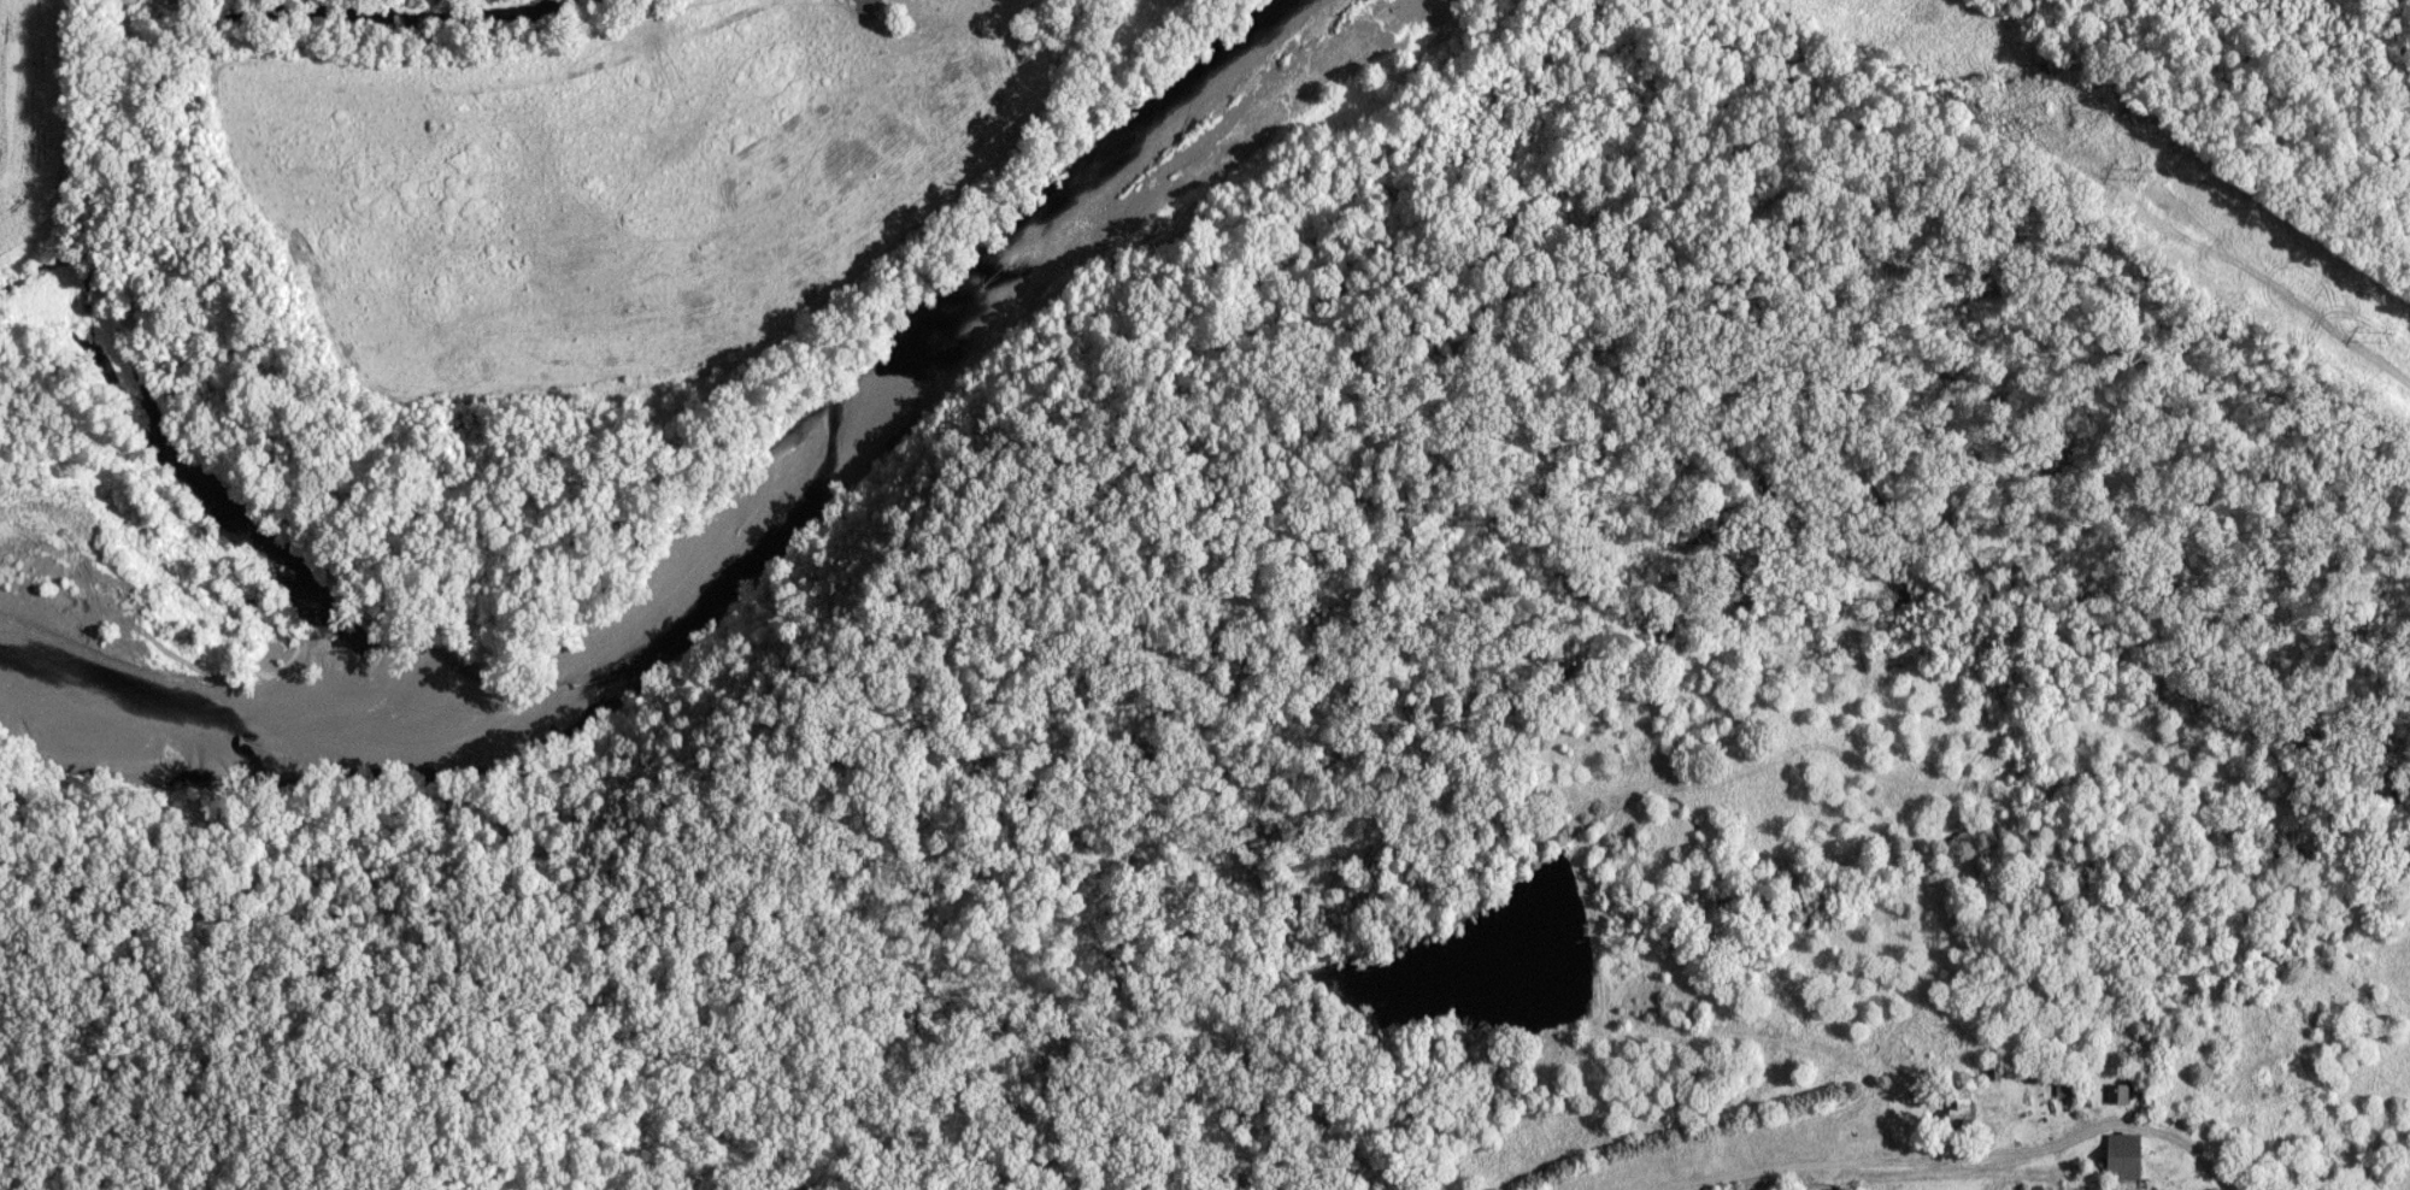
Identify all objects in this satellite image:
power tower: (2140, 171)
power tower: (2349, 312)
building: (2064, 1089)
building: (2117, 1092)
building: (1959, 1107)
building: (2122, 1156)
road: (1906, 1167)

